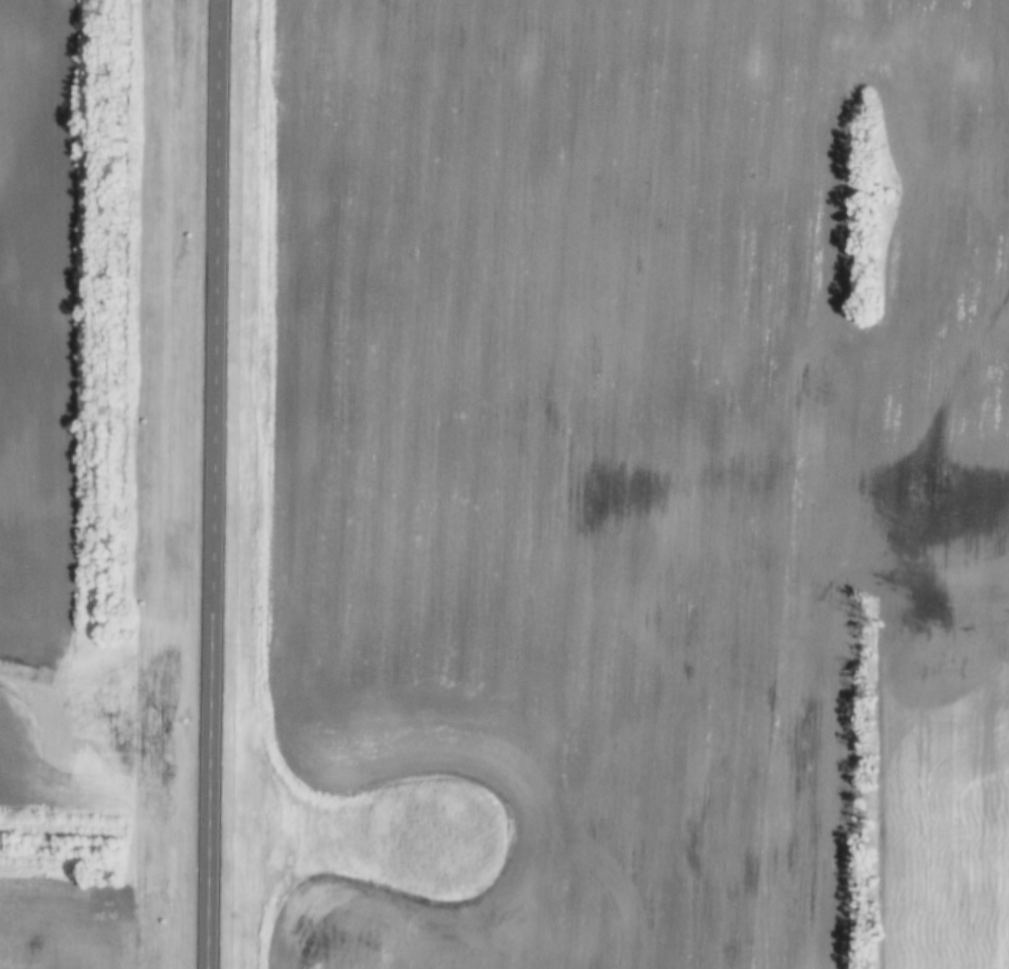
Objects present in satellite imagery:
road: (199, 484)

